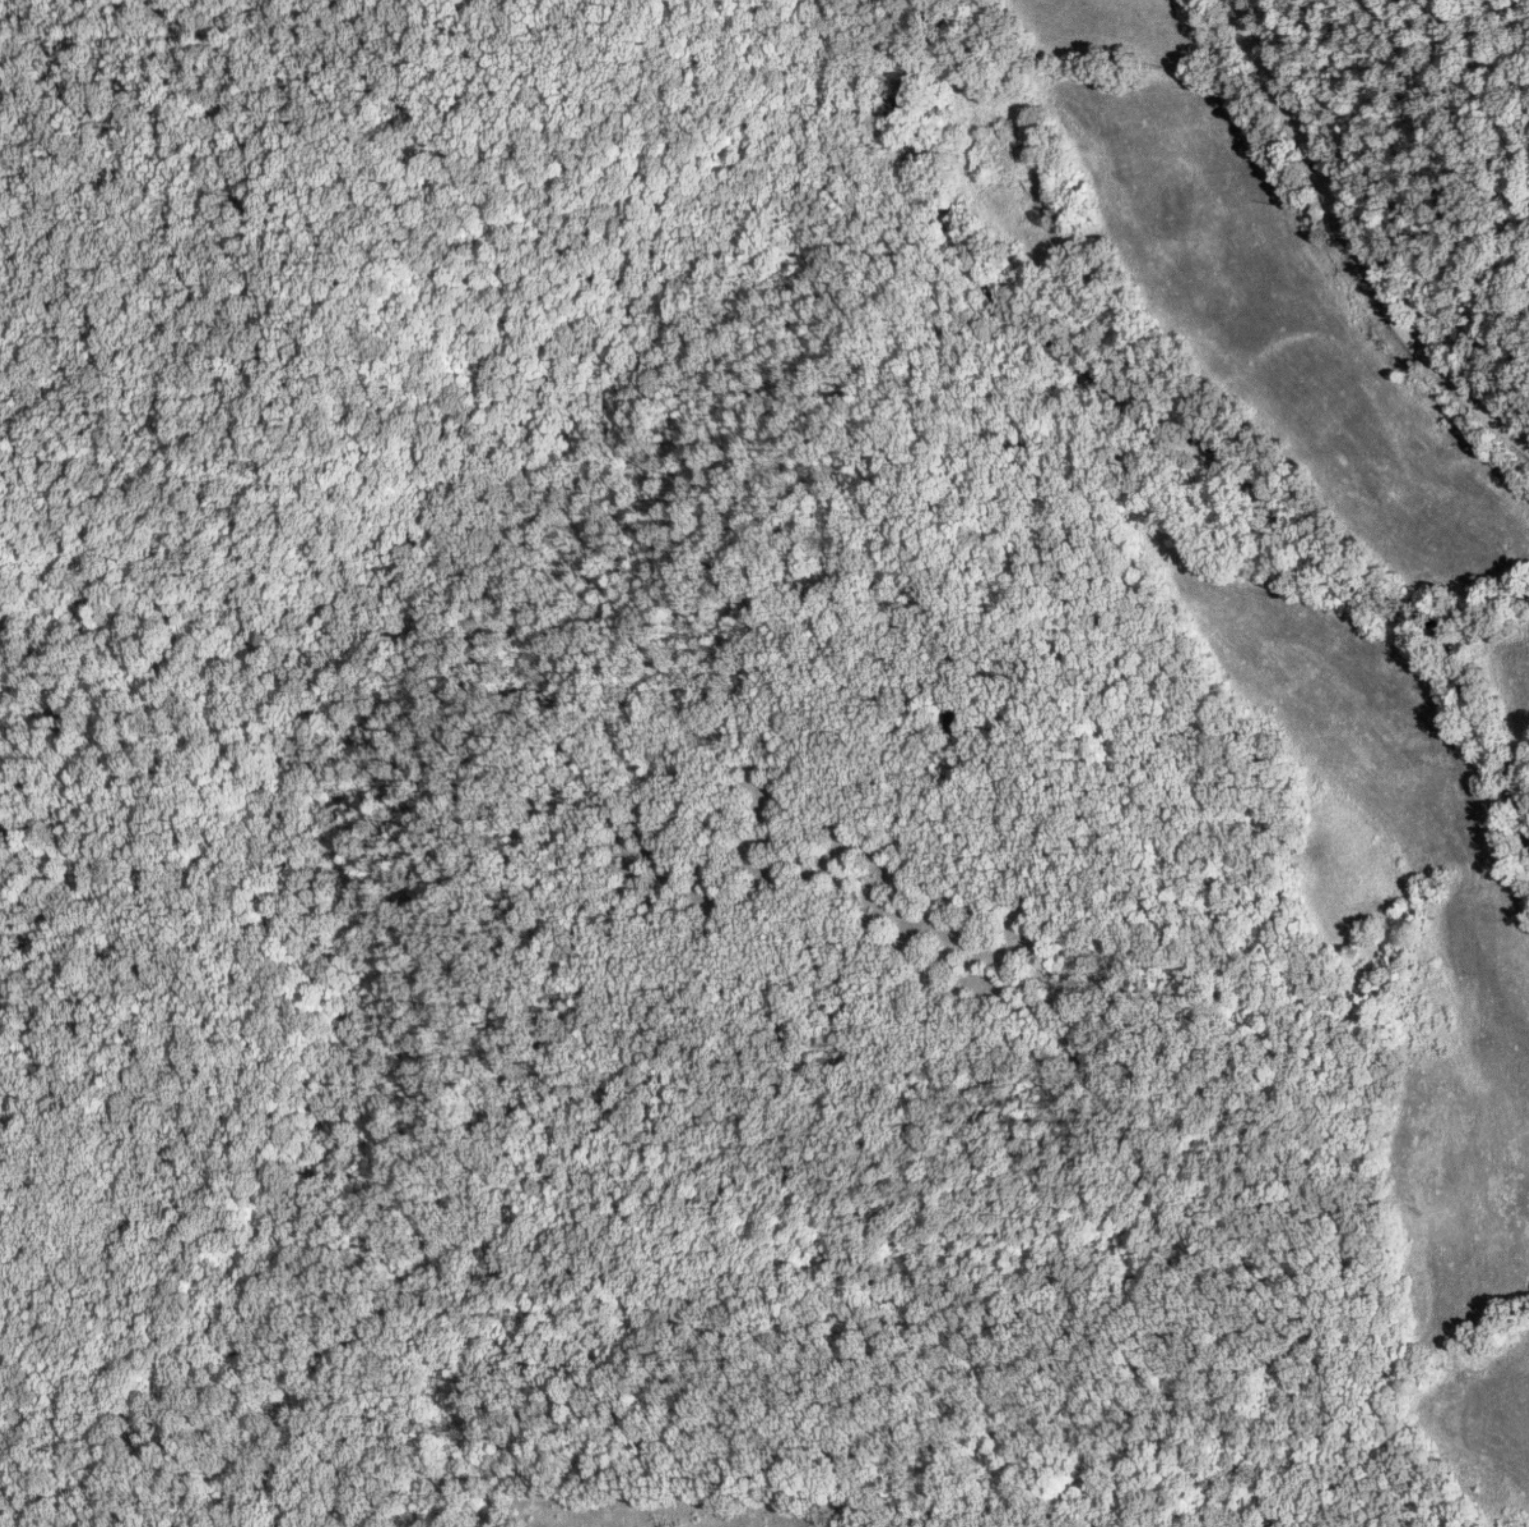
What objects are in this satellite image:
road: (1354, 241)

